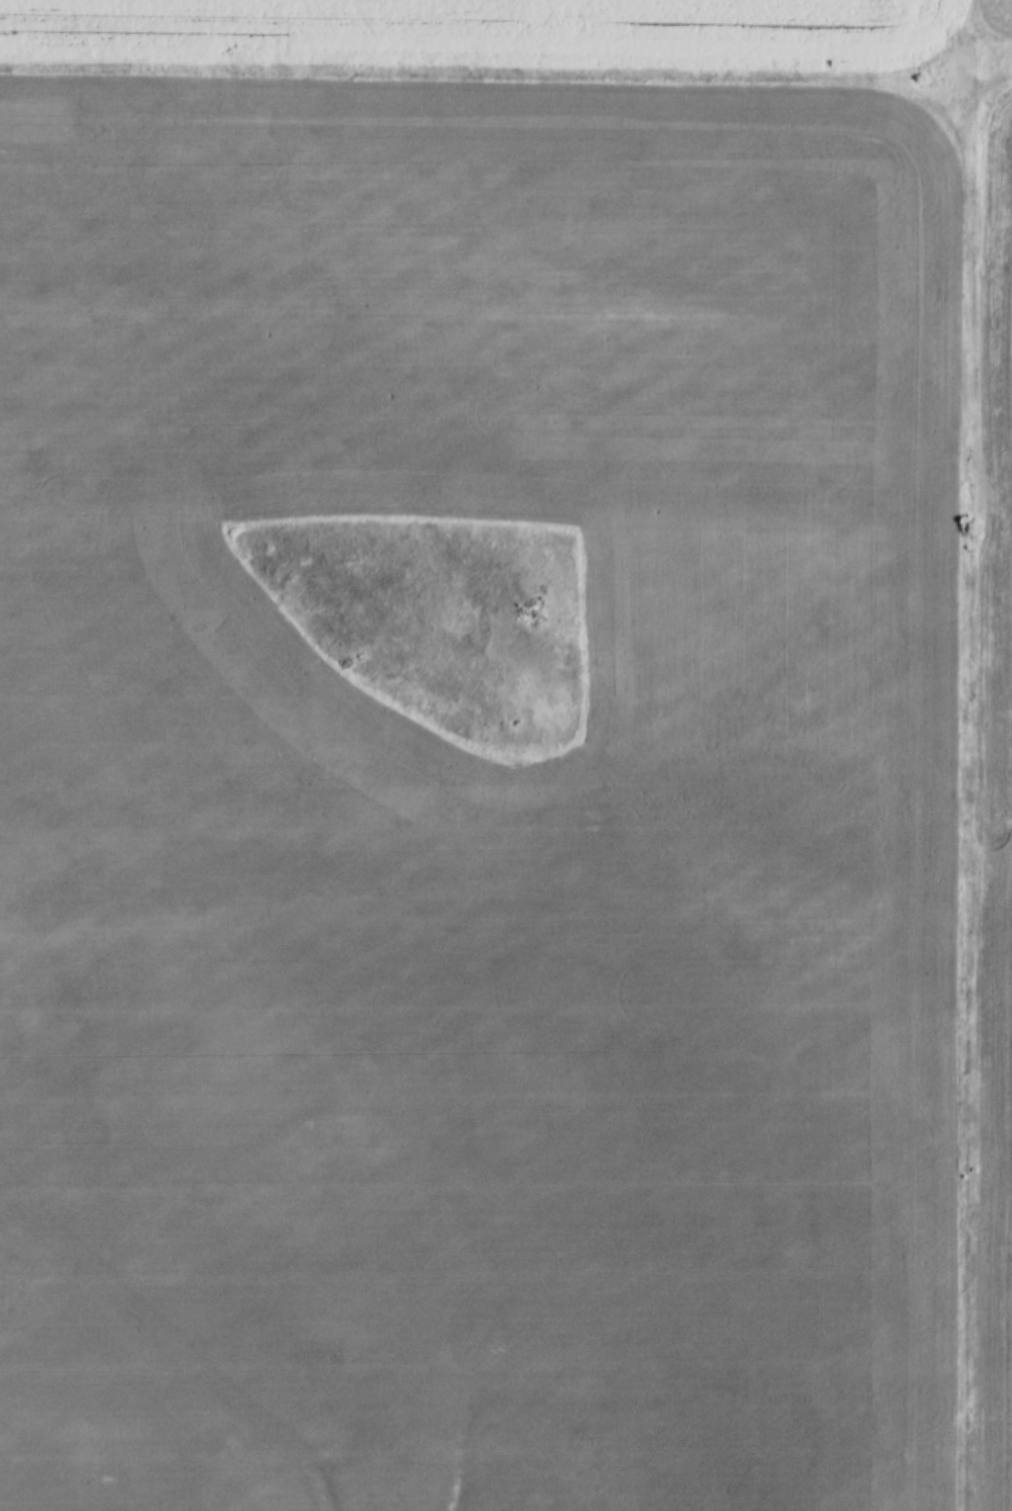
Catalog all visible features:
road: (505, 65)

